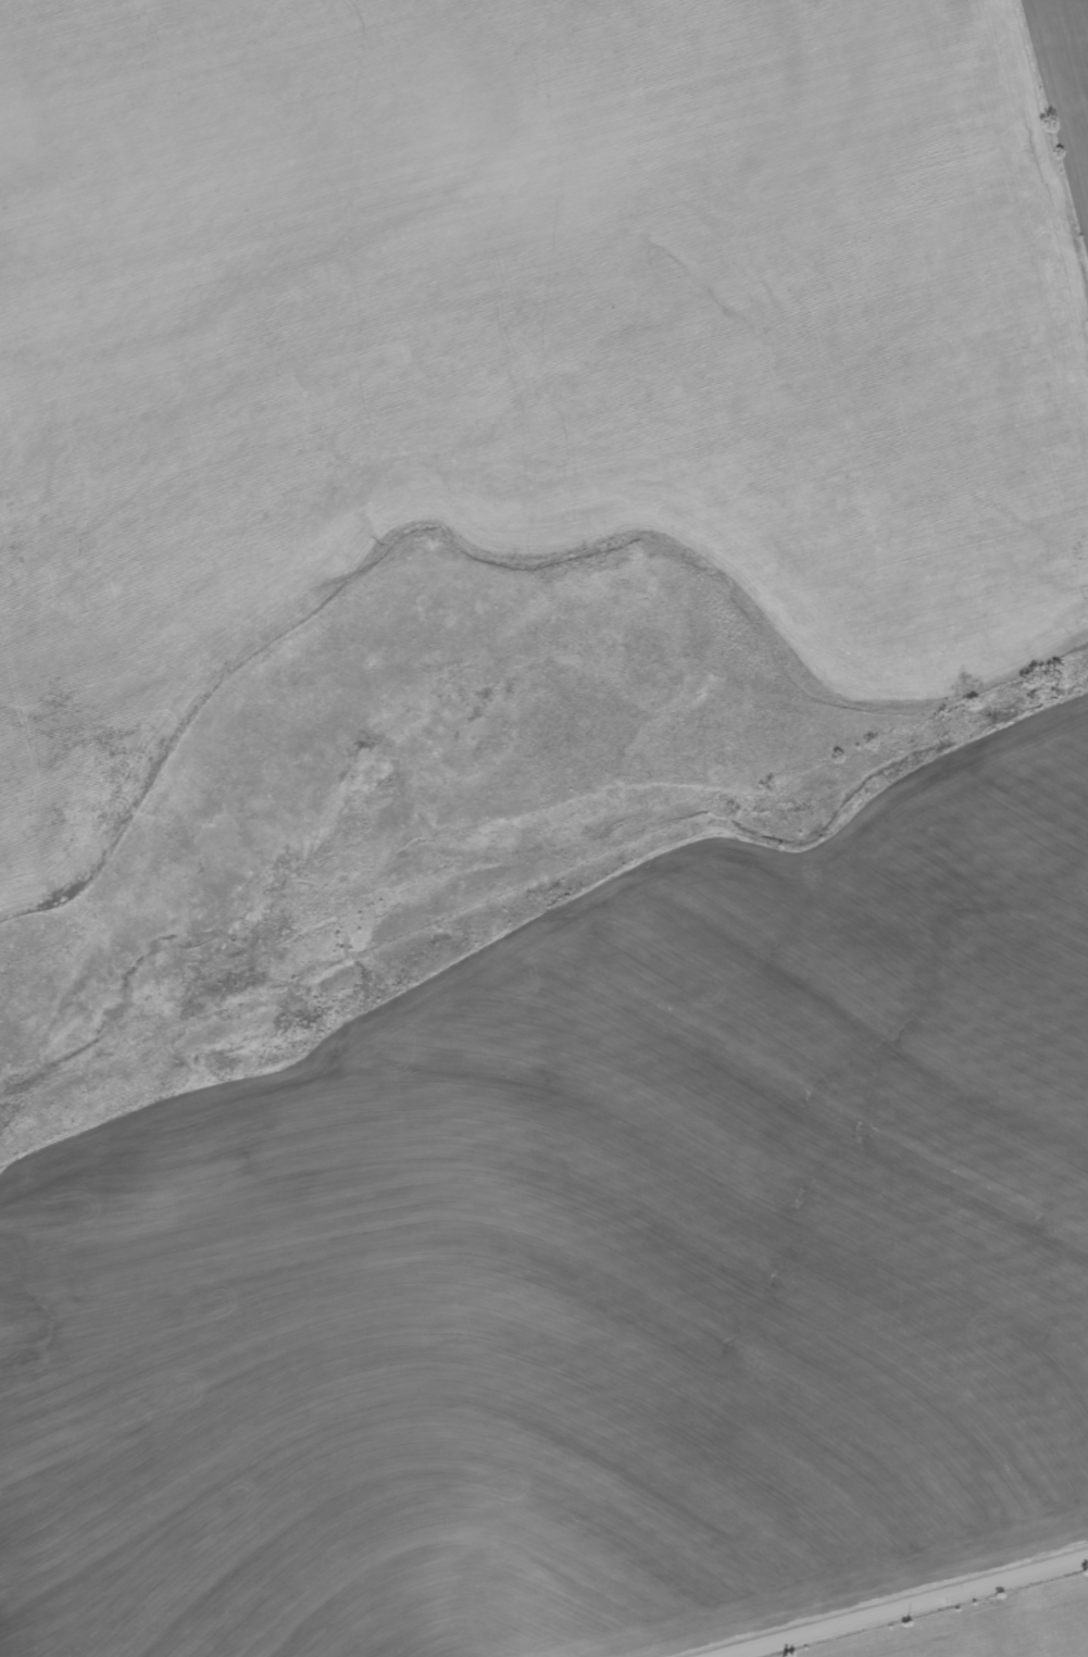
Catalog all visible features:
road: (933, 1616)

